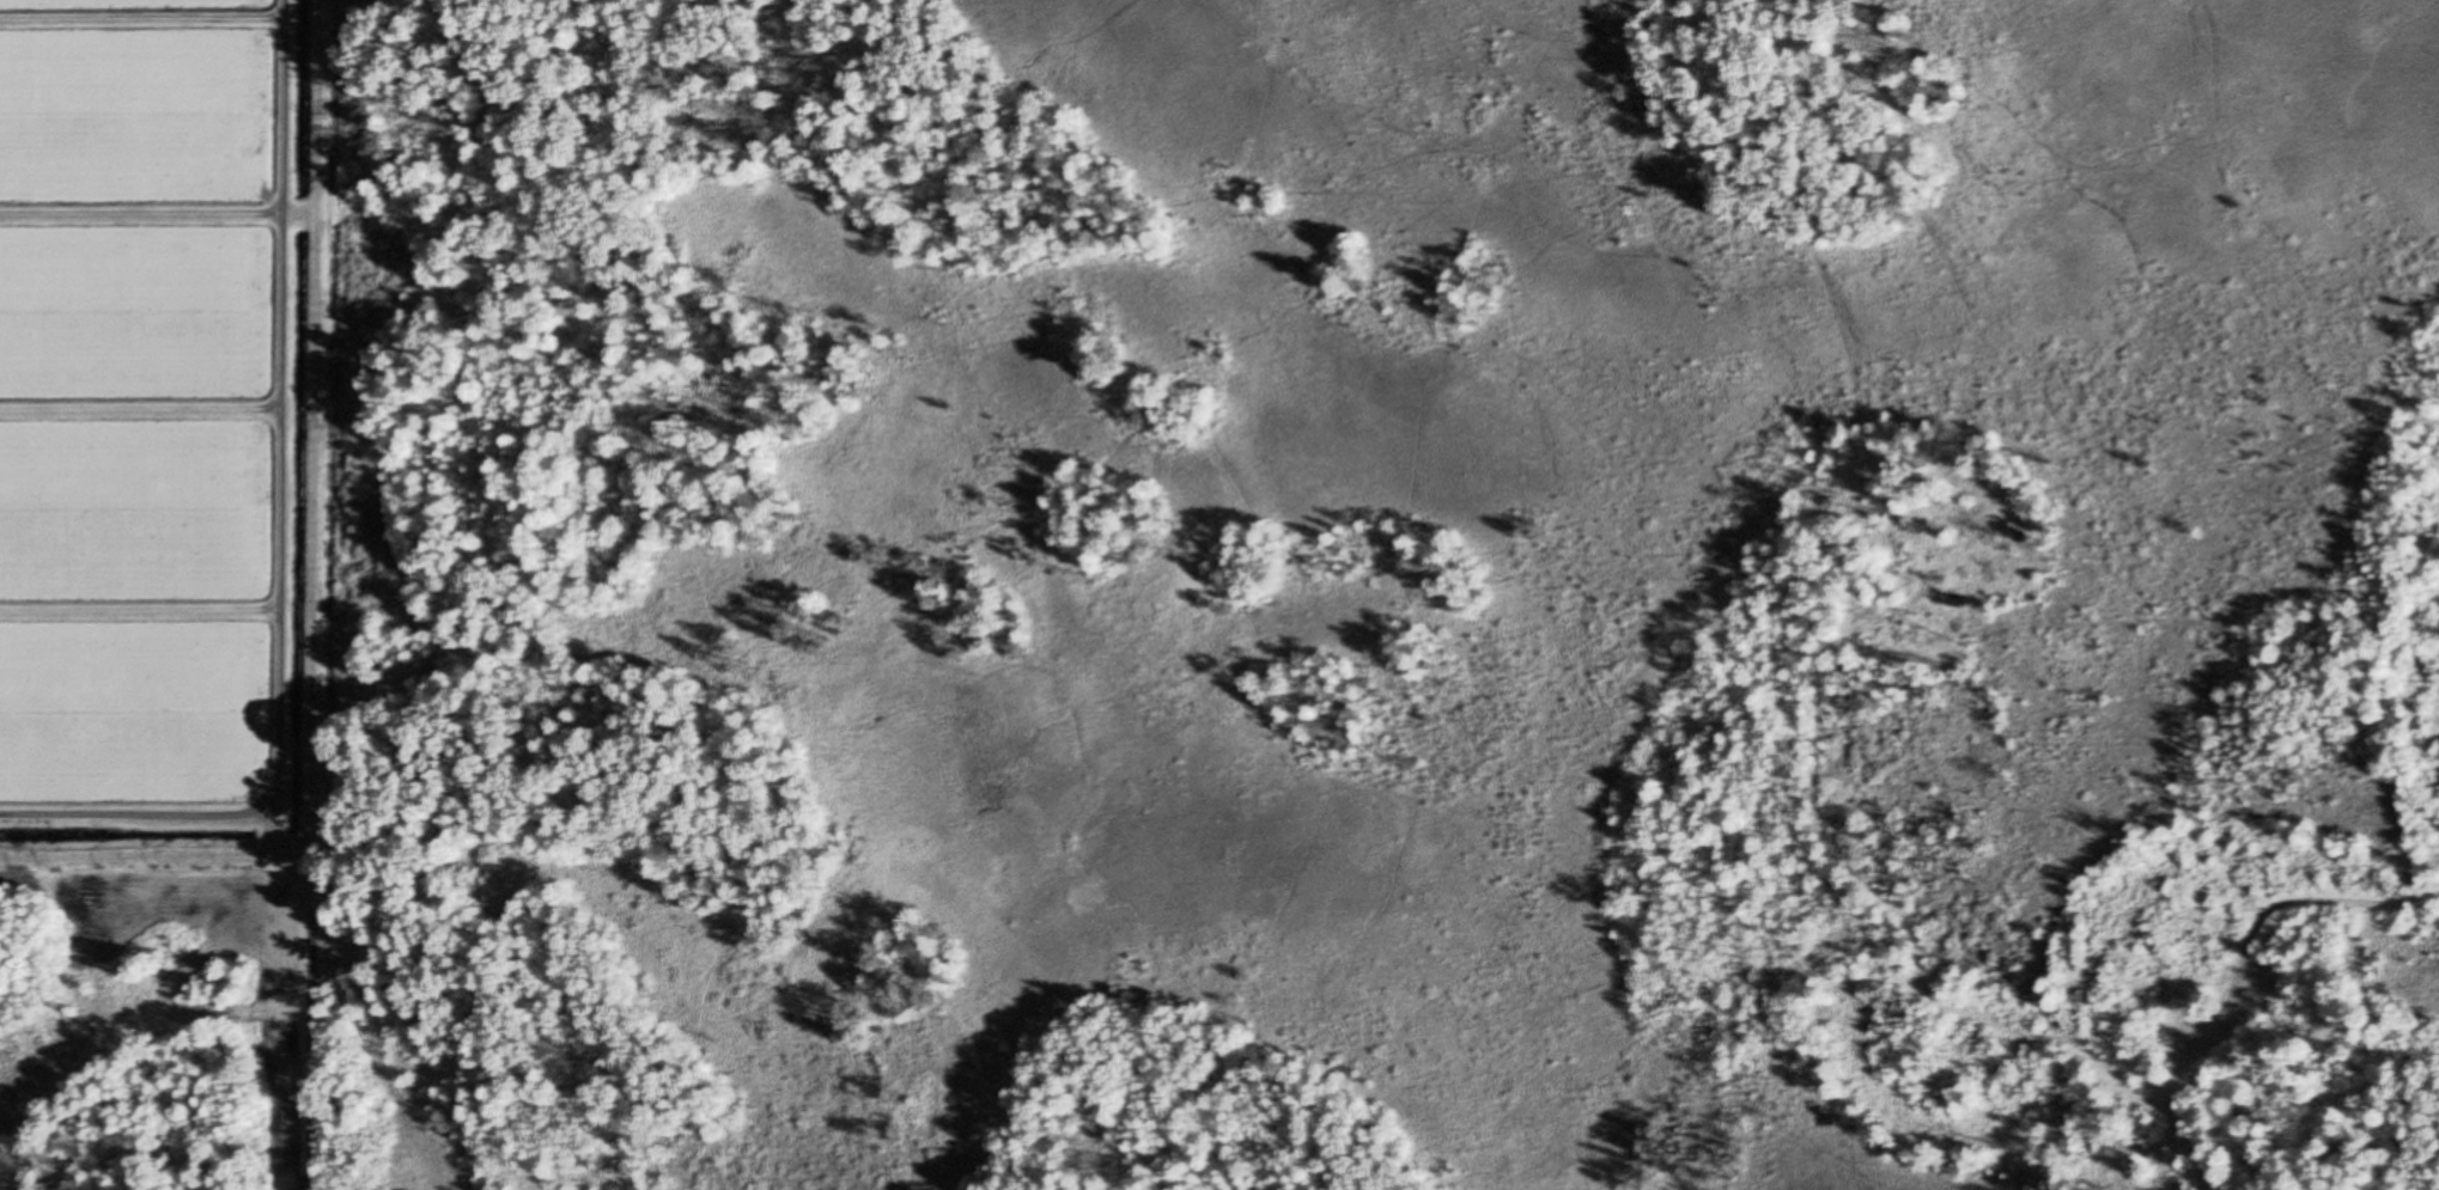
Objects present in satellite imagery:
crop: (157, 432)

